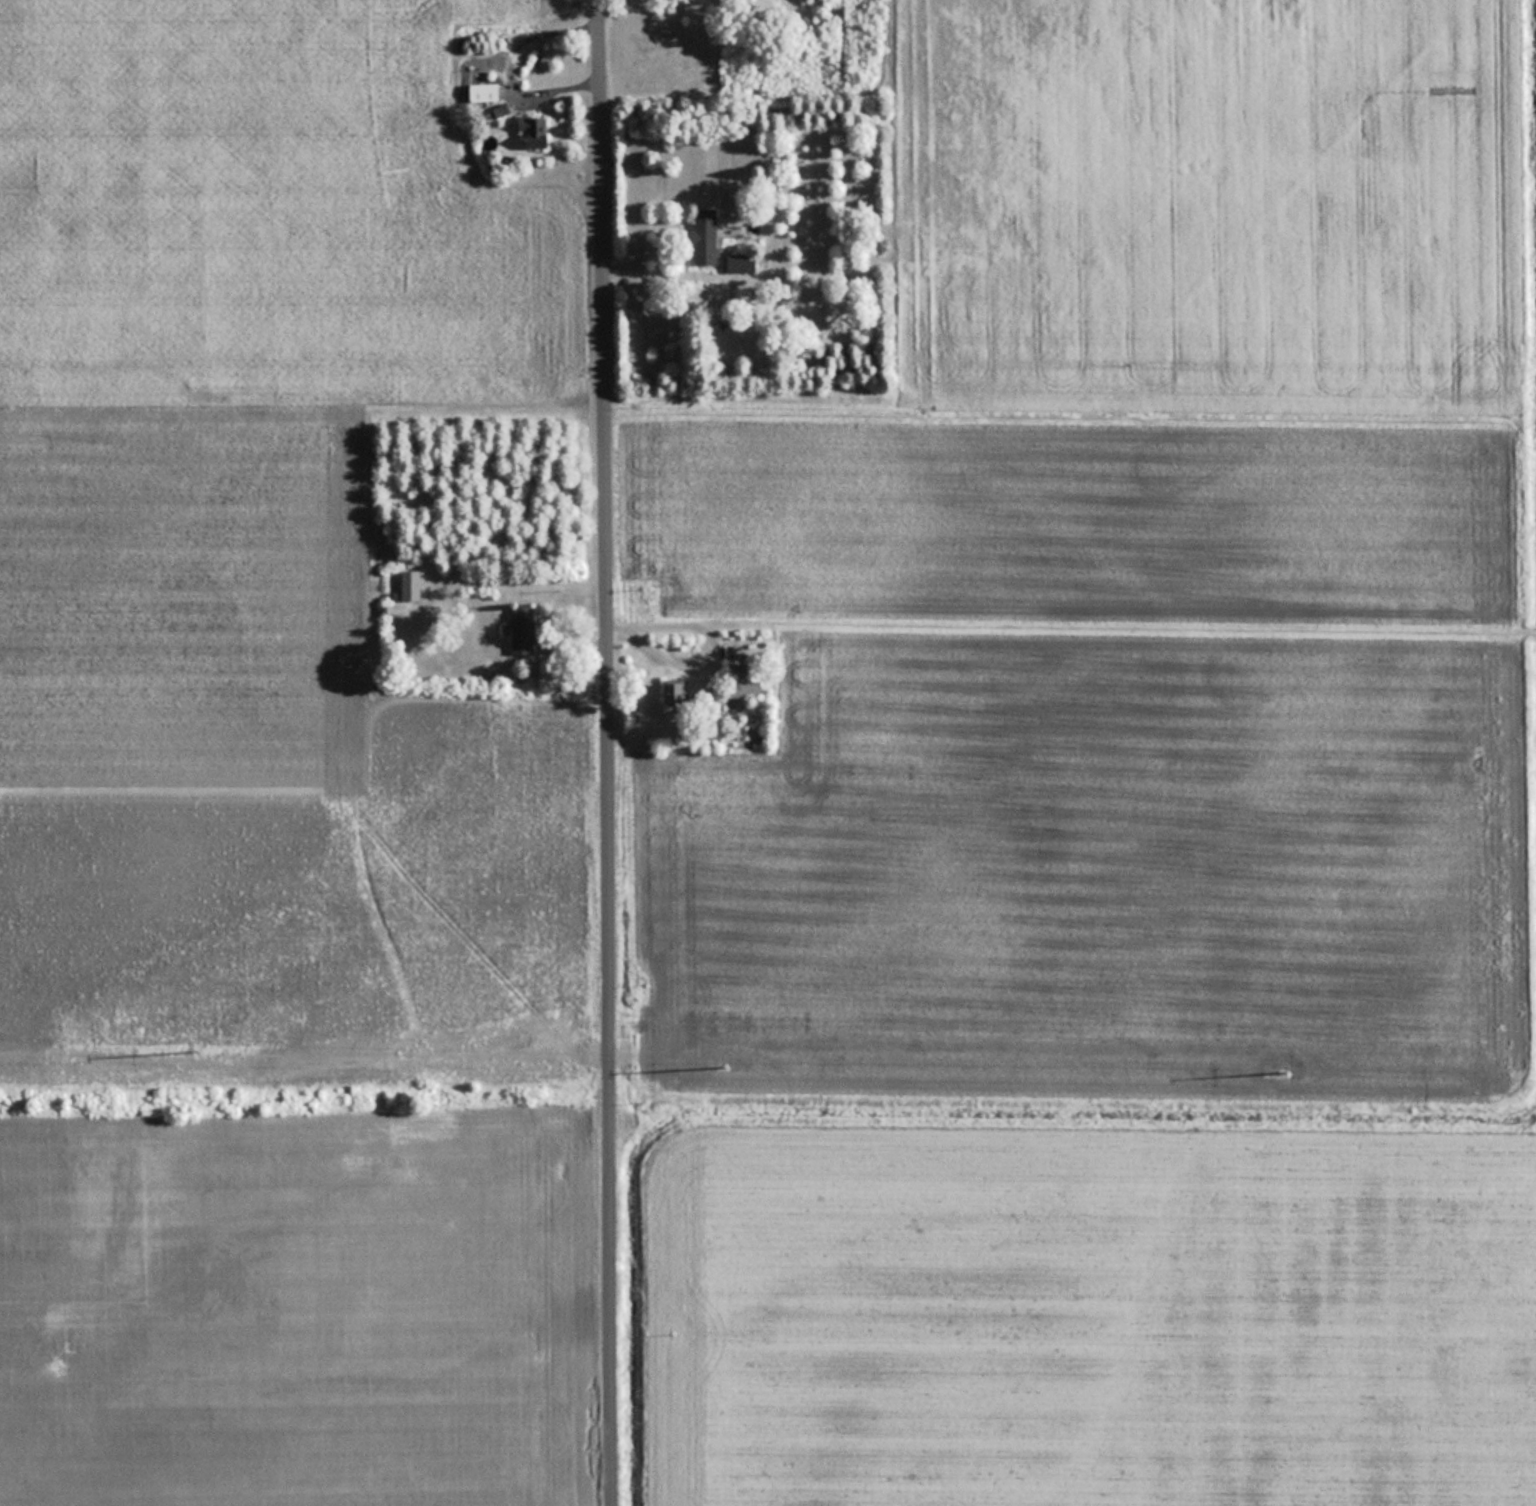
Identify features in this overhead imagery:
building: (484, 91)
building: (500, 109)
building: (535, 130)
building: (705, 235)
building: (740, 262)
road: (667, 281)
building: (411, 585)
building: (404, 609)
building: (523, 631)
building: (741, 682)
building: (674, 696)
road: (607, 752)

